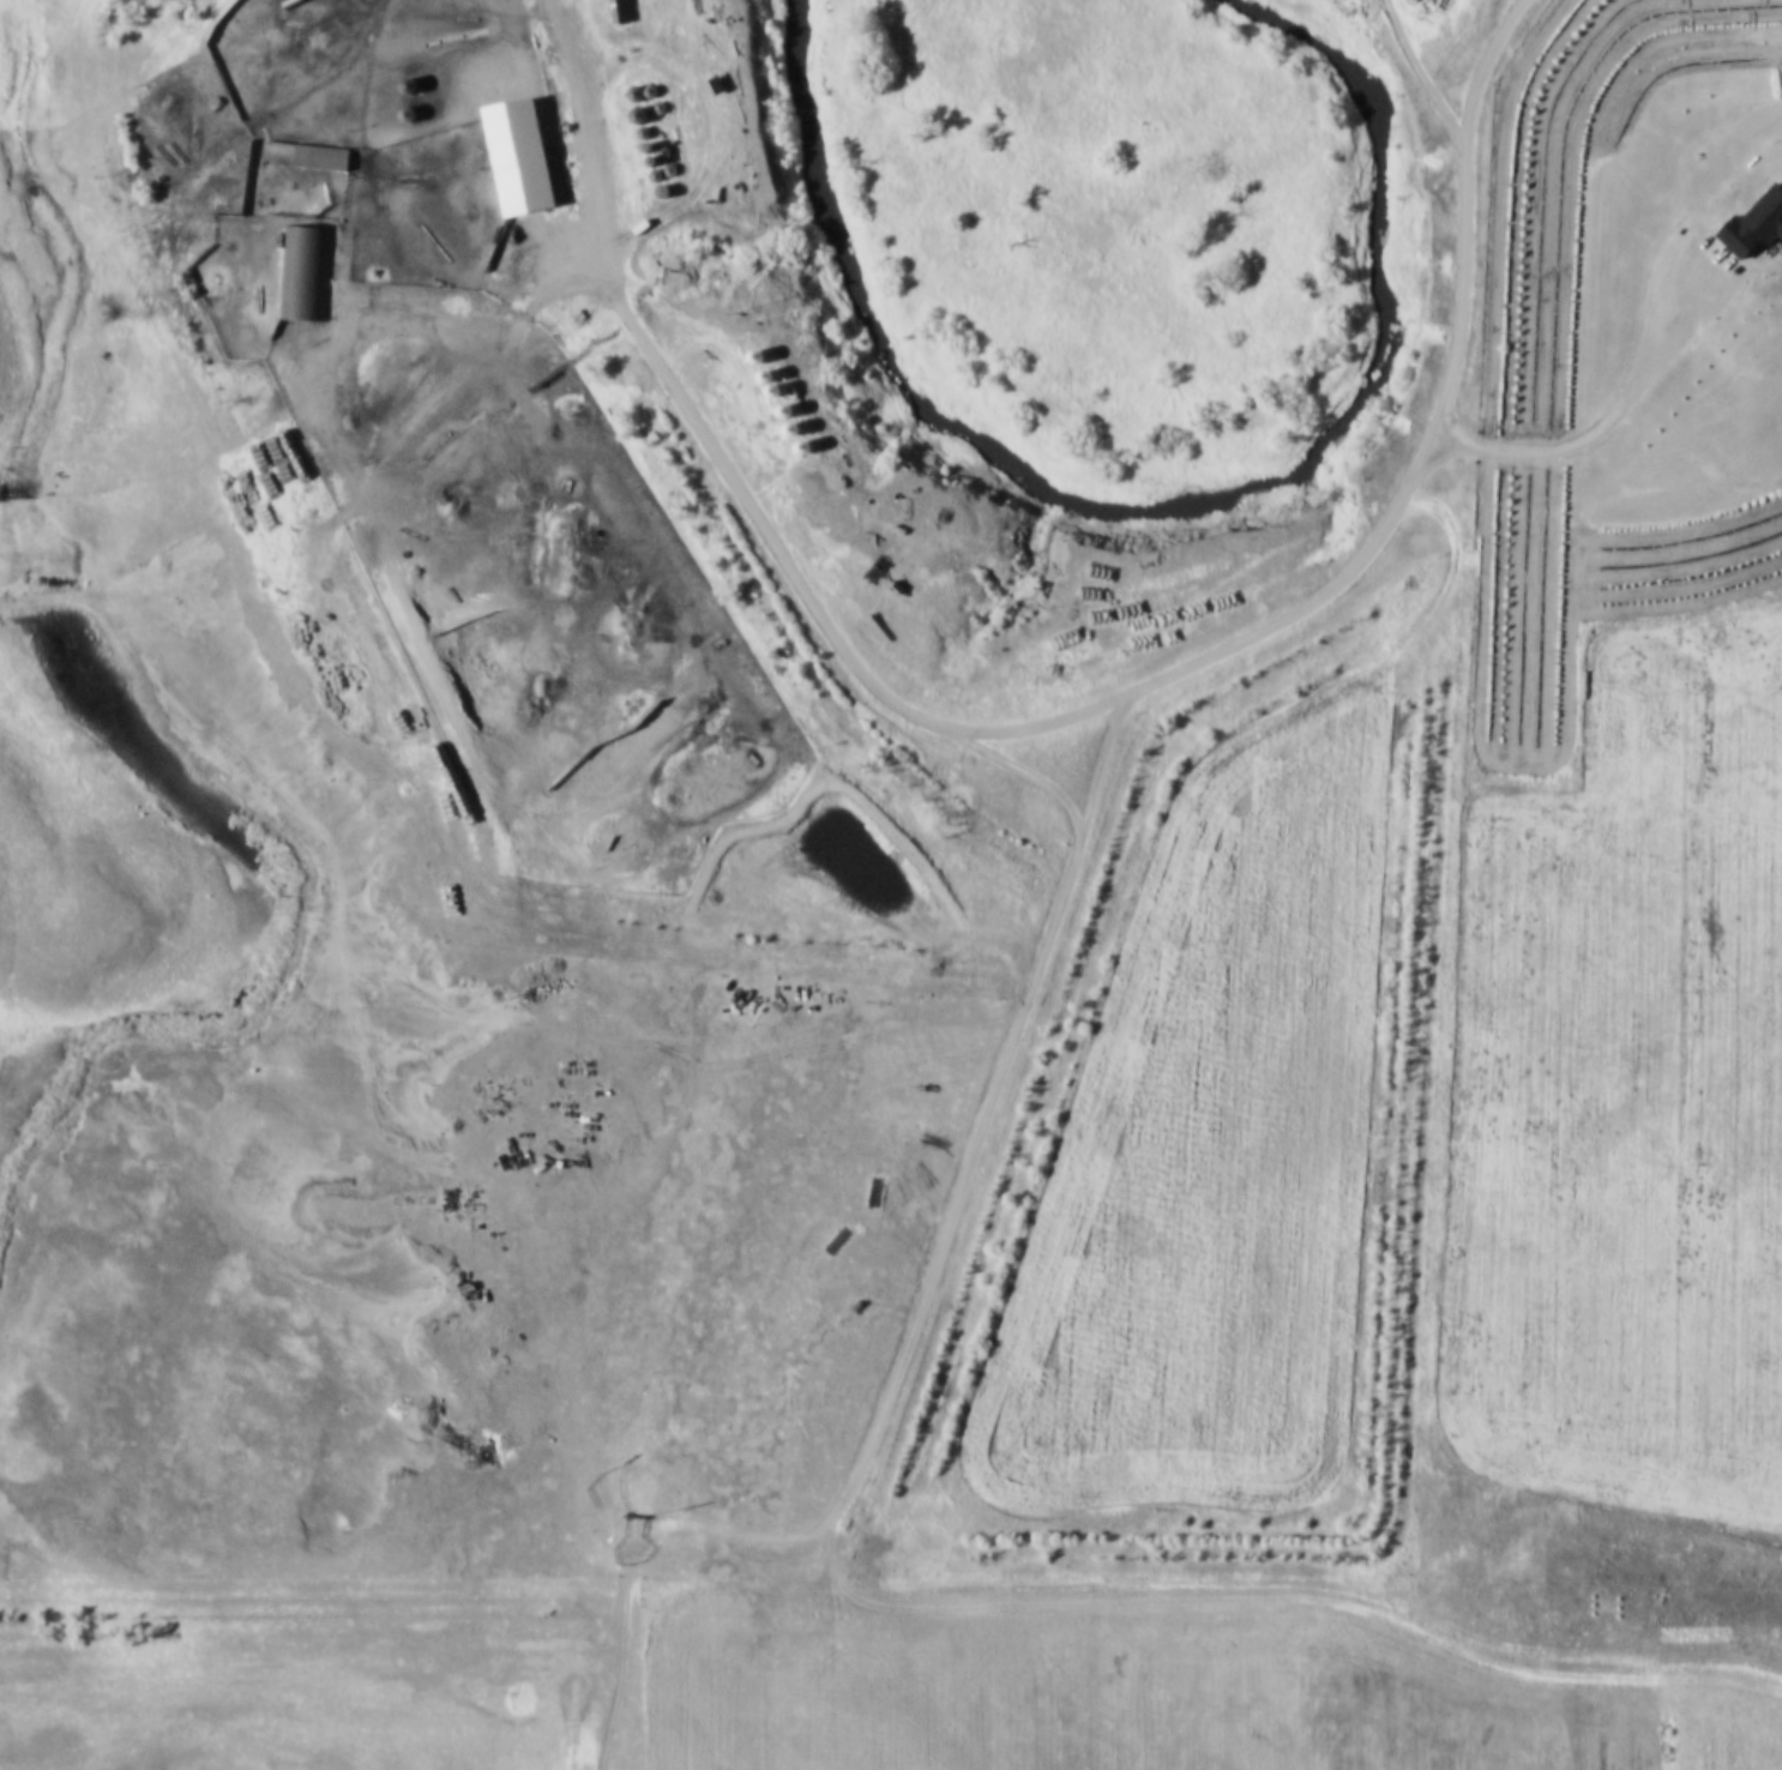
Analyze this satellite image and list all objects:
building: (618, 11)
road: (1423, 82)
building: (403, 85)
road: (582, 115)
building: (516, 155)
building: (319, 156)
building: (303, 272)
road: (466, 323)
river: (1163, 476)
road: (1154, 682)
road: (1543, 1649)

